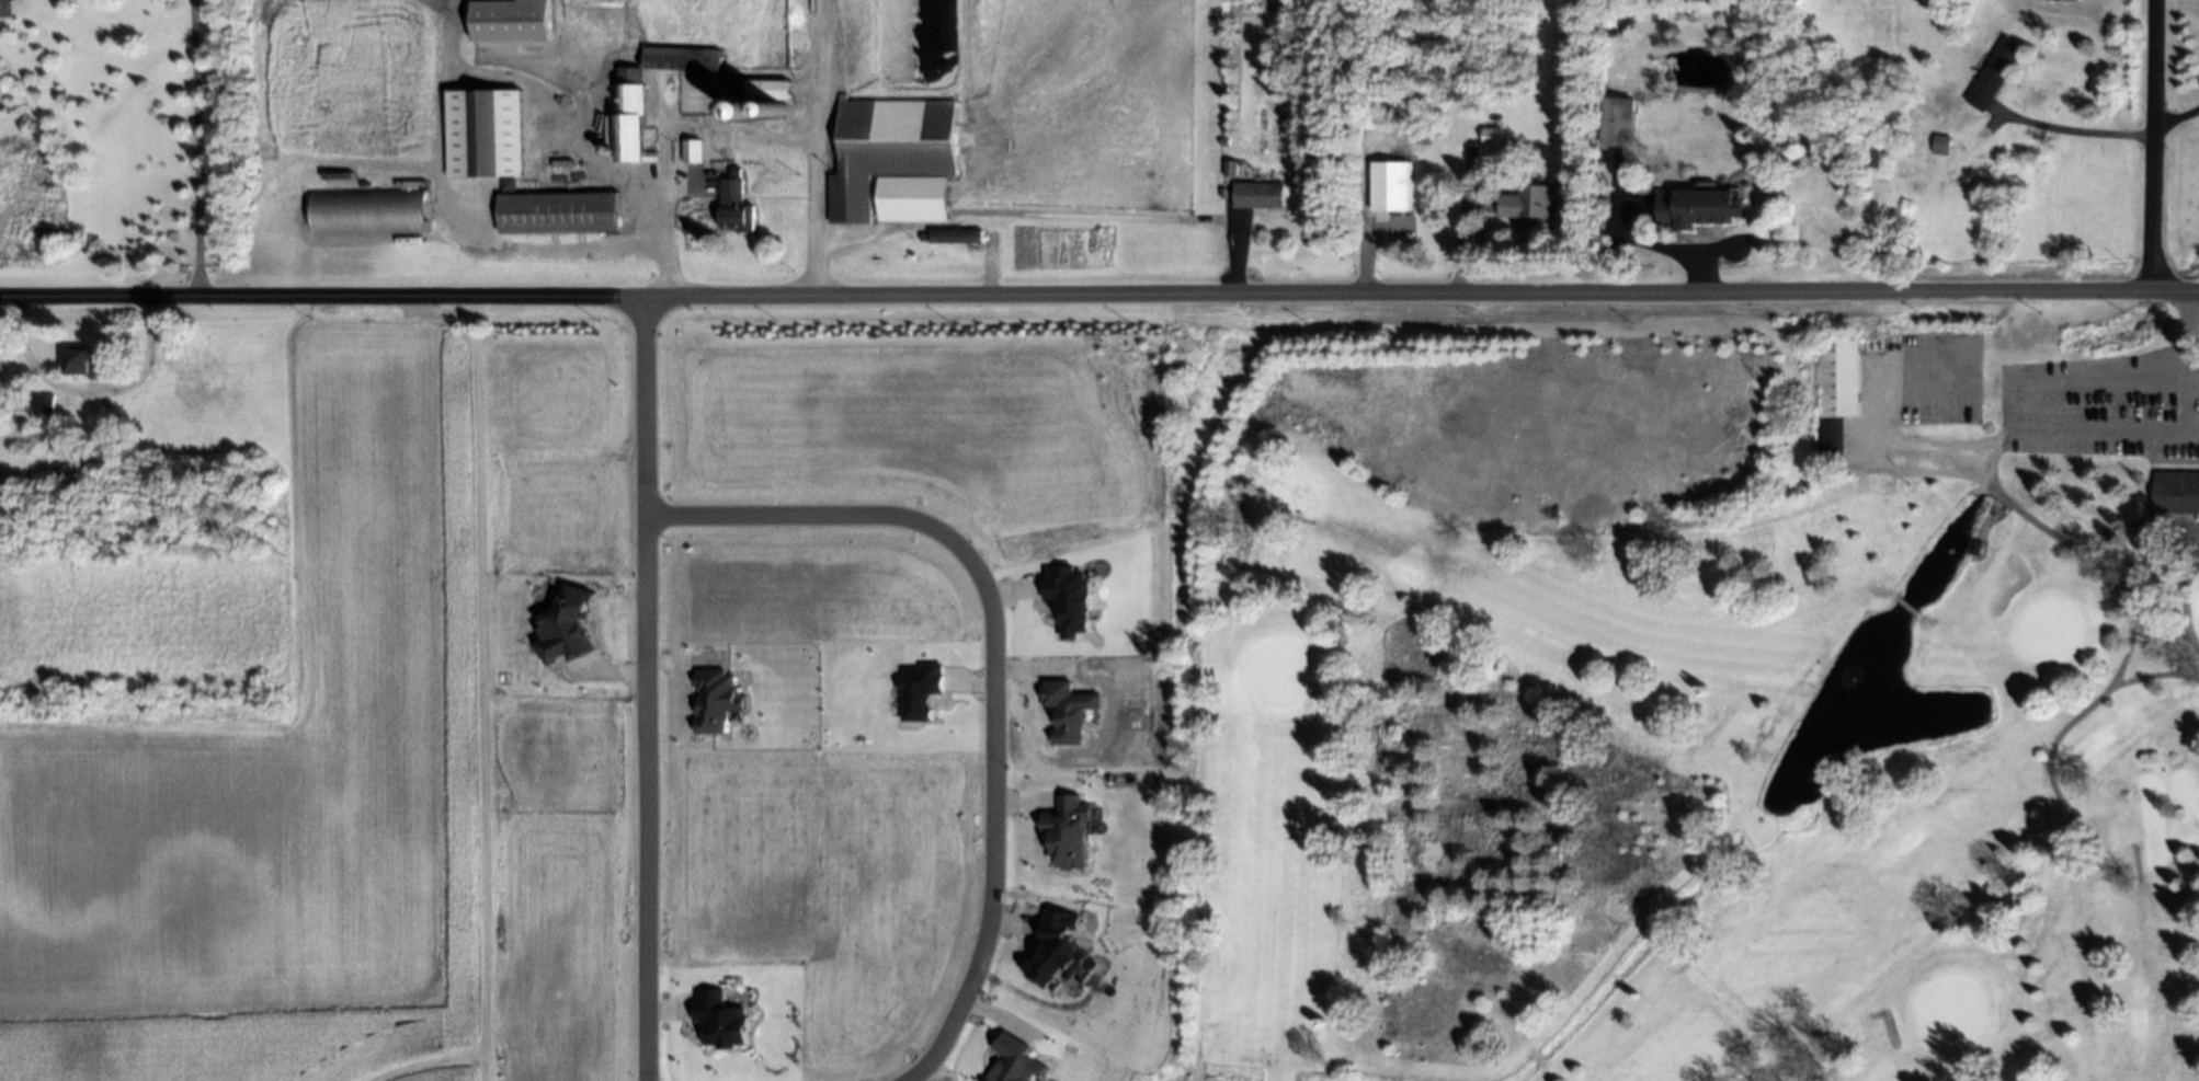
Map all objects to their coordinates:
building: (2060, 0)
building: (511, 19)
building: (1996, 72)
building: (633, 92)
building: (768, 95)
building: (739, 105)
building: (1619, 122)
road: (737, 126)
building: (486, 129)
road: (2078, 129)
road: (438, 131)
building: (1493, 140)
building: (1942, 145)
road: (2154, 146)
road: (196, 150)
building: (694, 150)
building: (896, 159)
building: (1229, 169)
building: (577, 181)
building: (509, 184)
building: (1391, 186)
building: (1258, 194)
building: (1528, 202)
building: (737, 205)
building: (1698, 207)
building: (369, 212)
building: (560, 212)
building: (954, 235)
road: (1099, 299)
road: (2188, 338)
building: (91, 365)
road: (2104, 383)
road: (88, 389)
building: (1834, 391)
building: (46, 403)
parking lot: (2103, 405)
road: (2008, 406)
road: (2187, 411)
road: (2104, 434)
road: (1946, 442)
road: (1993, 463)
building: (2177, 491)
road: (1300, 517)
road: (2043, 527)
road: (2184, 583)
road: (1882, 589)
building: (1070, 600)
road: (1904, 606)
road: (1924, 620)
building: (568, 628)
road: (994, 659)
road: (2154, 675)
road: (480, 691)
road: (646, 691)
building: (919, 691)
road: (2103, 692)
building: (715, 701)
park: (1695, 705)
building: (1070, 711)
building: (1070, 831)
building: (1058, 951)
road: (1684, 959)
building: (719, 1020)
road: (1537, 1058)
road: (424, 1060)
building: (1016, 1060)
road: (1196, 1060)
road: (1195, 1072)

